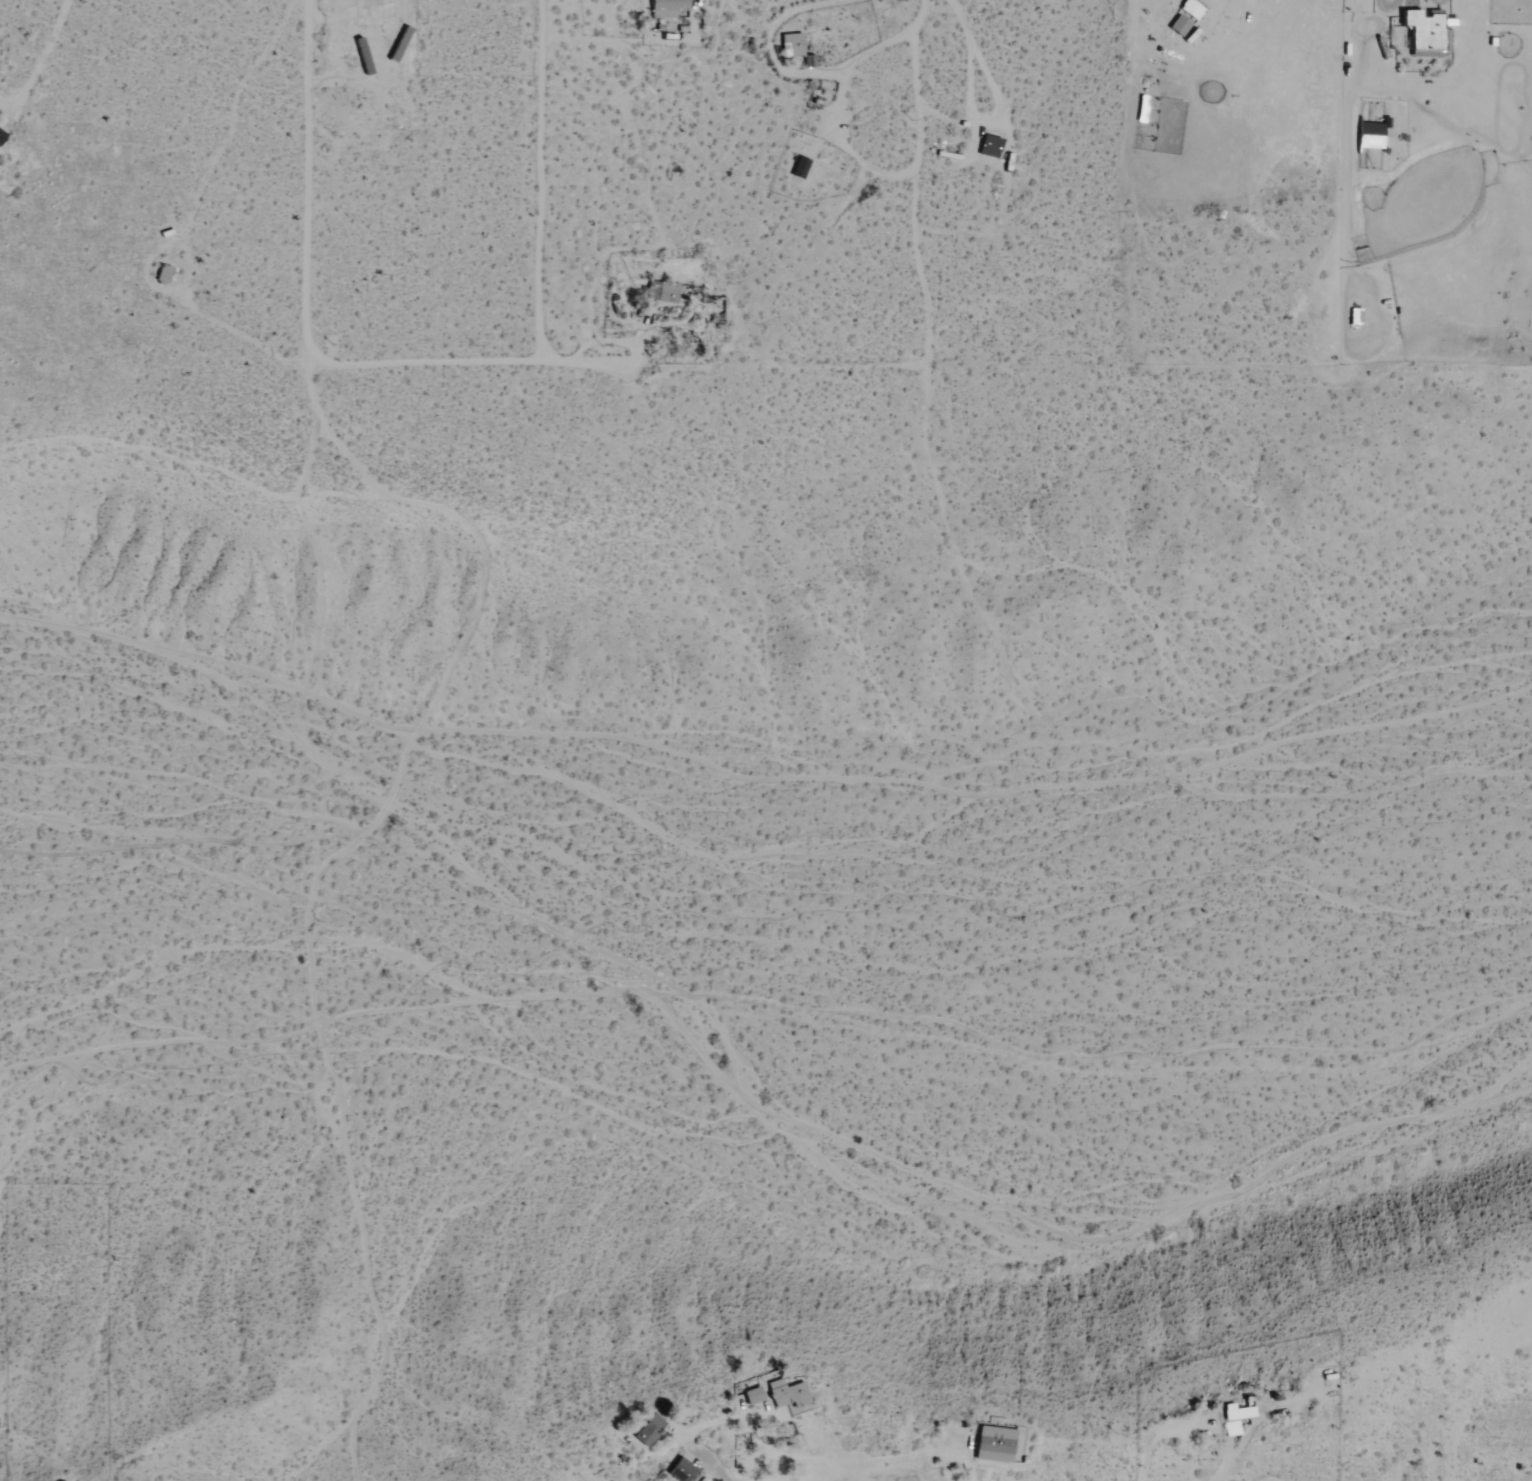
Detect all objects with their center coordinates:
building: (666, 8)
building: (1179, 25)
building: (1424, 30)
building: (793, 43)
road: (807, 71)
building: (1370, 135)
building: (989, 146)
building: (799, 168)
road: (306, 182)
building: (667, 292)
road: (434, 362)
building: (787, 1394)
building: (752, 1396)
building: (1234, 1418)
building: (648, 1429)
building: (994, 1444)
building: (681, 1470)

